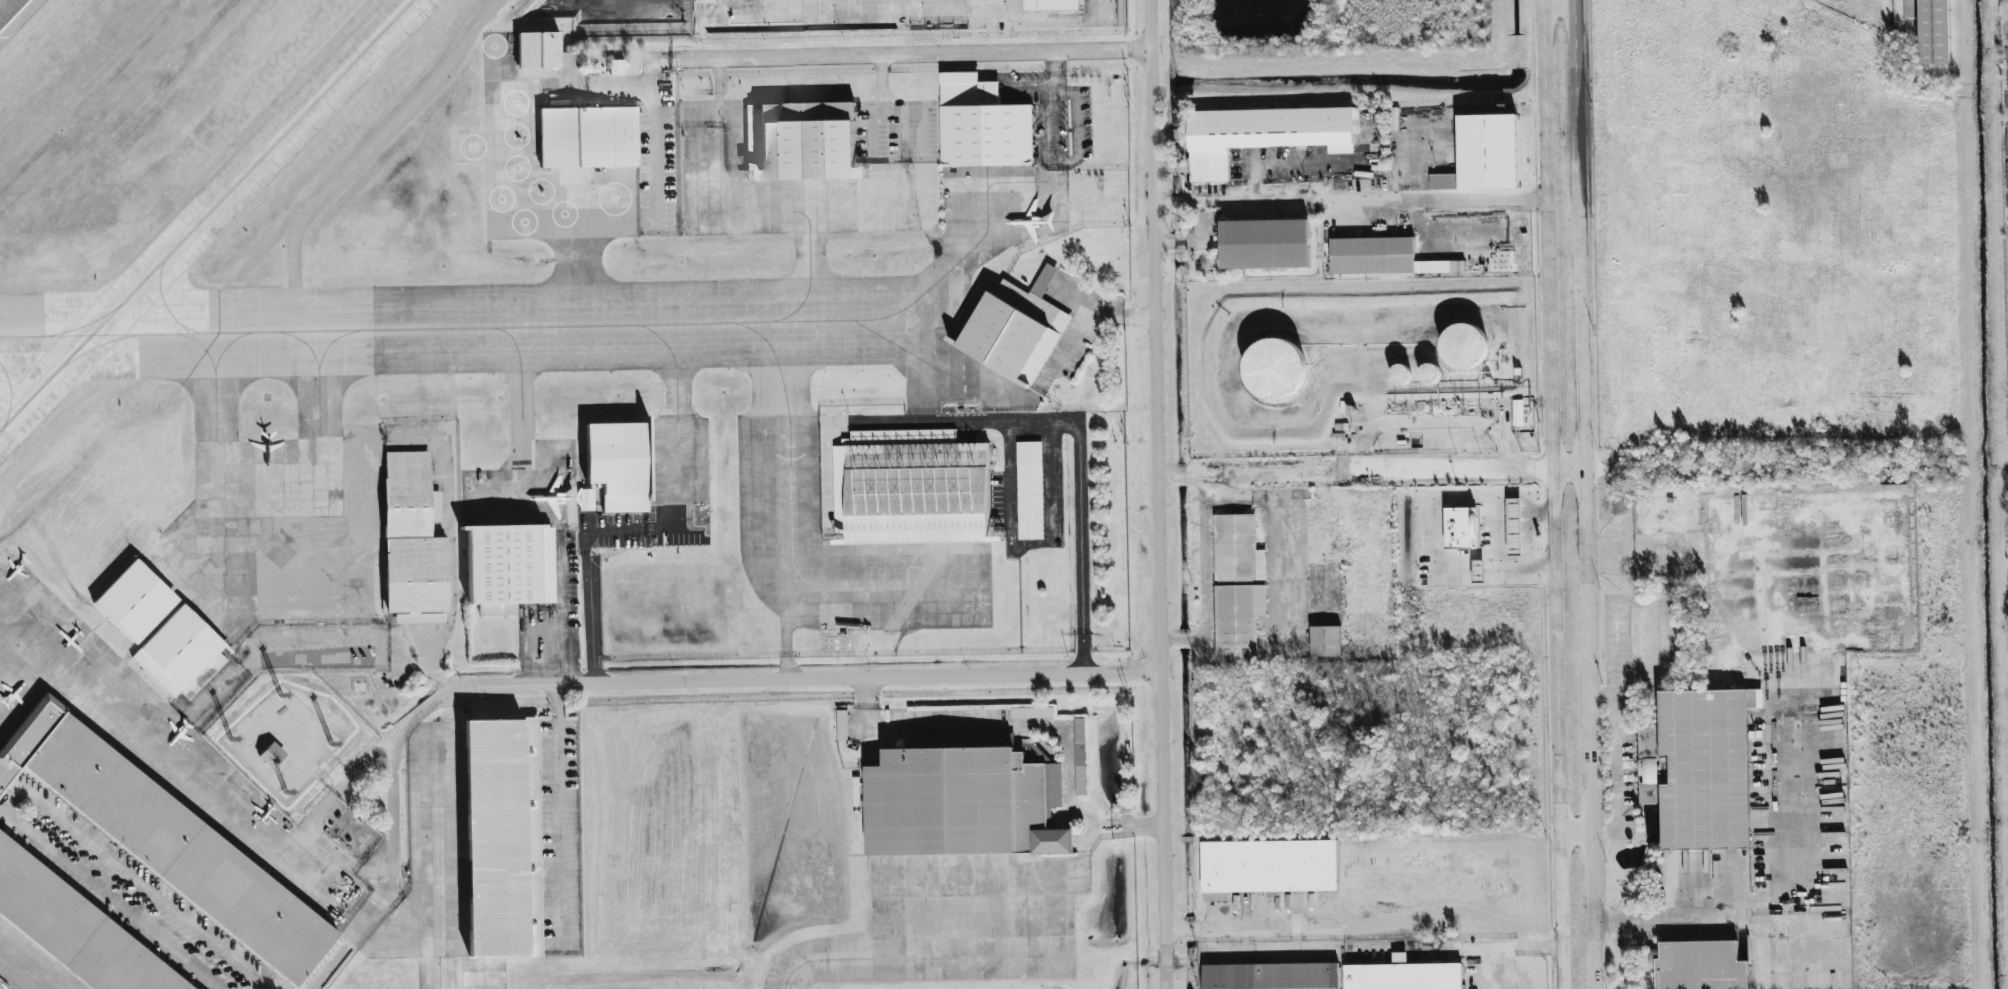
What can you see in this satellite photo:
building: (1050, 5)
road: (1562, 5)
building: (1120, 12)
airport apron: (862, 17)
building: (1934, 32)
airport hangar: (546, 52)
building: (546, 52)
road: (909, 54)
building: (616, 67)
road: (725, 75)
road: (882, 81)
road: (726, 98)
road: (1049, 99)
building: (987, 126)
building: (1258, 133)
airport hangar: (587, 137)
building: (587, 137)
road: (655, 137)
building: (803, 139)
airport: (573, 144)
helipad: (472, 147)
airport apron: (497, 147)
road: (367, 153)
building: (1482, 154)
road: (1411, 161)
road: (1289, 166)
airport apron: (853, 175)
road: (1349, 204)
airport taxiway: (206, 215)
building: (1263, 244)
building: (1370, 257)
airport taxiway: (947, 270)
airport taxiway: (809, 272)
airport taxiway: (576, 282)
road: (1232, 289)
airport taxiway: (177, 320)
airport taxiway: (85, 324)
airport taxiway: (188, 326)
airport taxiway: (435, 327)
building: (1013, 329)
airport taxiway: (874, 334)
airport taxiway: (188, 336)
airport taxiway: (100, 344)
building: (1464, 346)
airport taxiway: (521, 364)
building: (1274, 368)
airport taxiway: (215, 370)
airport taxiway: (783, 370)
airport taxiway: (678, 372)
building: (1430, 374)
airport taxiway: (324, 380)
airport taxiway: (11, 396)
building: (1517, 413)
road: (933, 424)
road: (1357, 459)
building: (618, 468)
road: (1576, 472)
road: (1202, 484)
building: (1030, 491)
building: (912, 494)
road: (1156, 494)
road: (1558, 494)
road: (1594, 494)
airport: (589, 495)
airport apron: (882, 499)
road: (1541, 513)
road: (1494, 514)
road: (1080, 520)
airport apron: (587, 522)
building: (1514, 527)
building: (1460, 528)
airport apron: (281, 534)
road: (1432, 536)
road: (1727, 537)
building: (411, 539)
road: (590, 541)
road: (1028, 543)
road: (452, 548)
road: (1287, 552)
road: (1879, 564)
building: (506, 565)
building: (1479, 569)
building: (1240, 589)
road: (592, 617)
road: (1794, 629)
building: (162, 634)
building: (1325, 641)
road: (726, 679)
building: (1031, 713)
road: (994, 725)
road: (1620, 747)
building: (271, 754)
building: (1079, 758)
building: (1704, 768)
airport apron: (244, 788)
road: (26, 792)
building: (958, 806)
road: (318, 812)
road: (560, 815)
road: (1120, 826)
parking lot: (560, 836)
road: (1580, 837)
building: (163, 839)
building: (495, 841)
airport apron: (972, 846)
building: (1271, 868)
road: (393, 871)
parking lot: (127, 892)
road: (1687, 920)
road: (1366, 923)
building: (71, 930)
airport taxiway: (820, 959)
airport apron: (28, 966)
building: (1697, 967)
road: (1500, 973)
airport taxiway: (443, 974)
building: (1338, 977)

